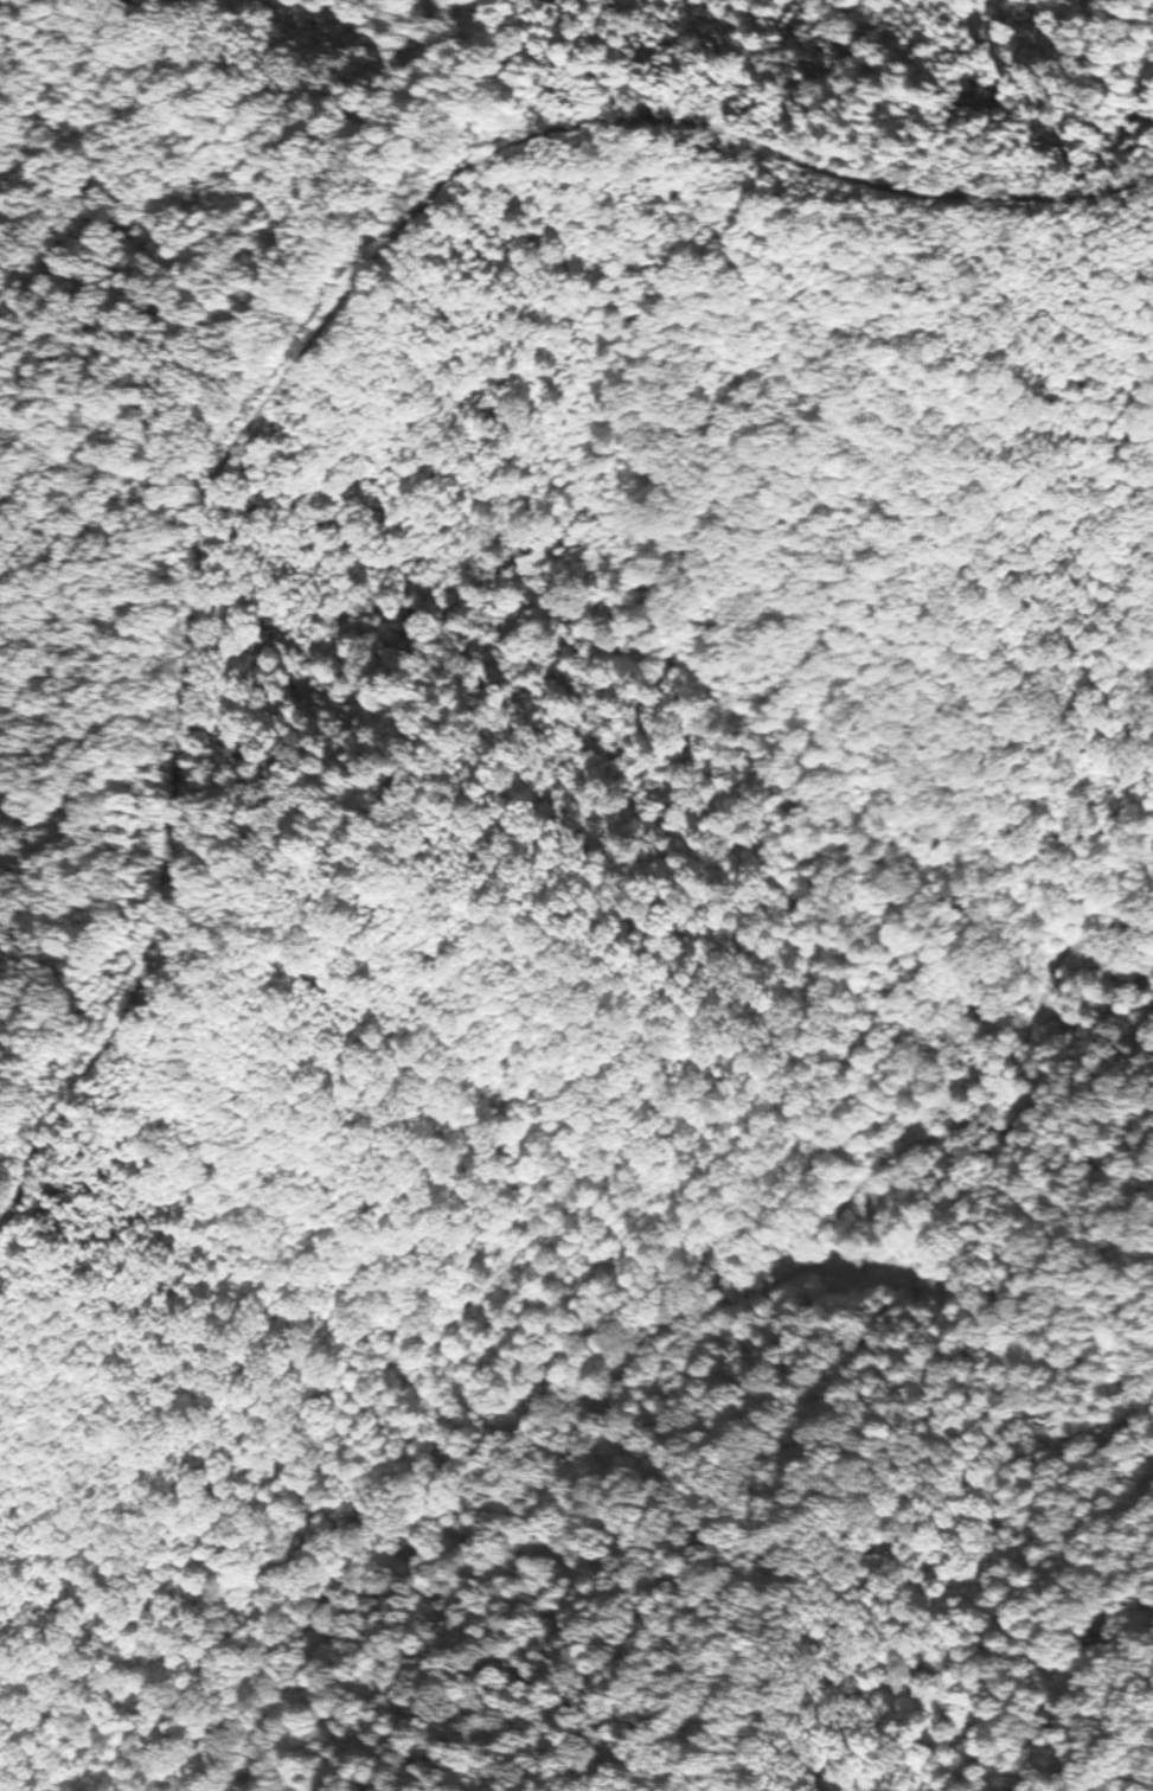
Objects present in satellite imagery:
road: (949, 1061)

